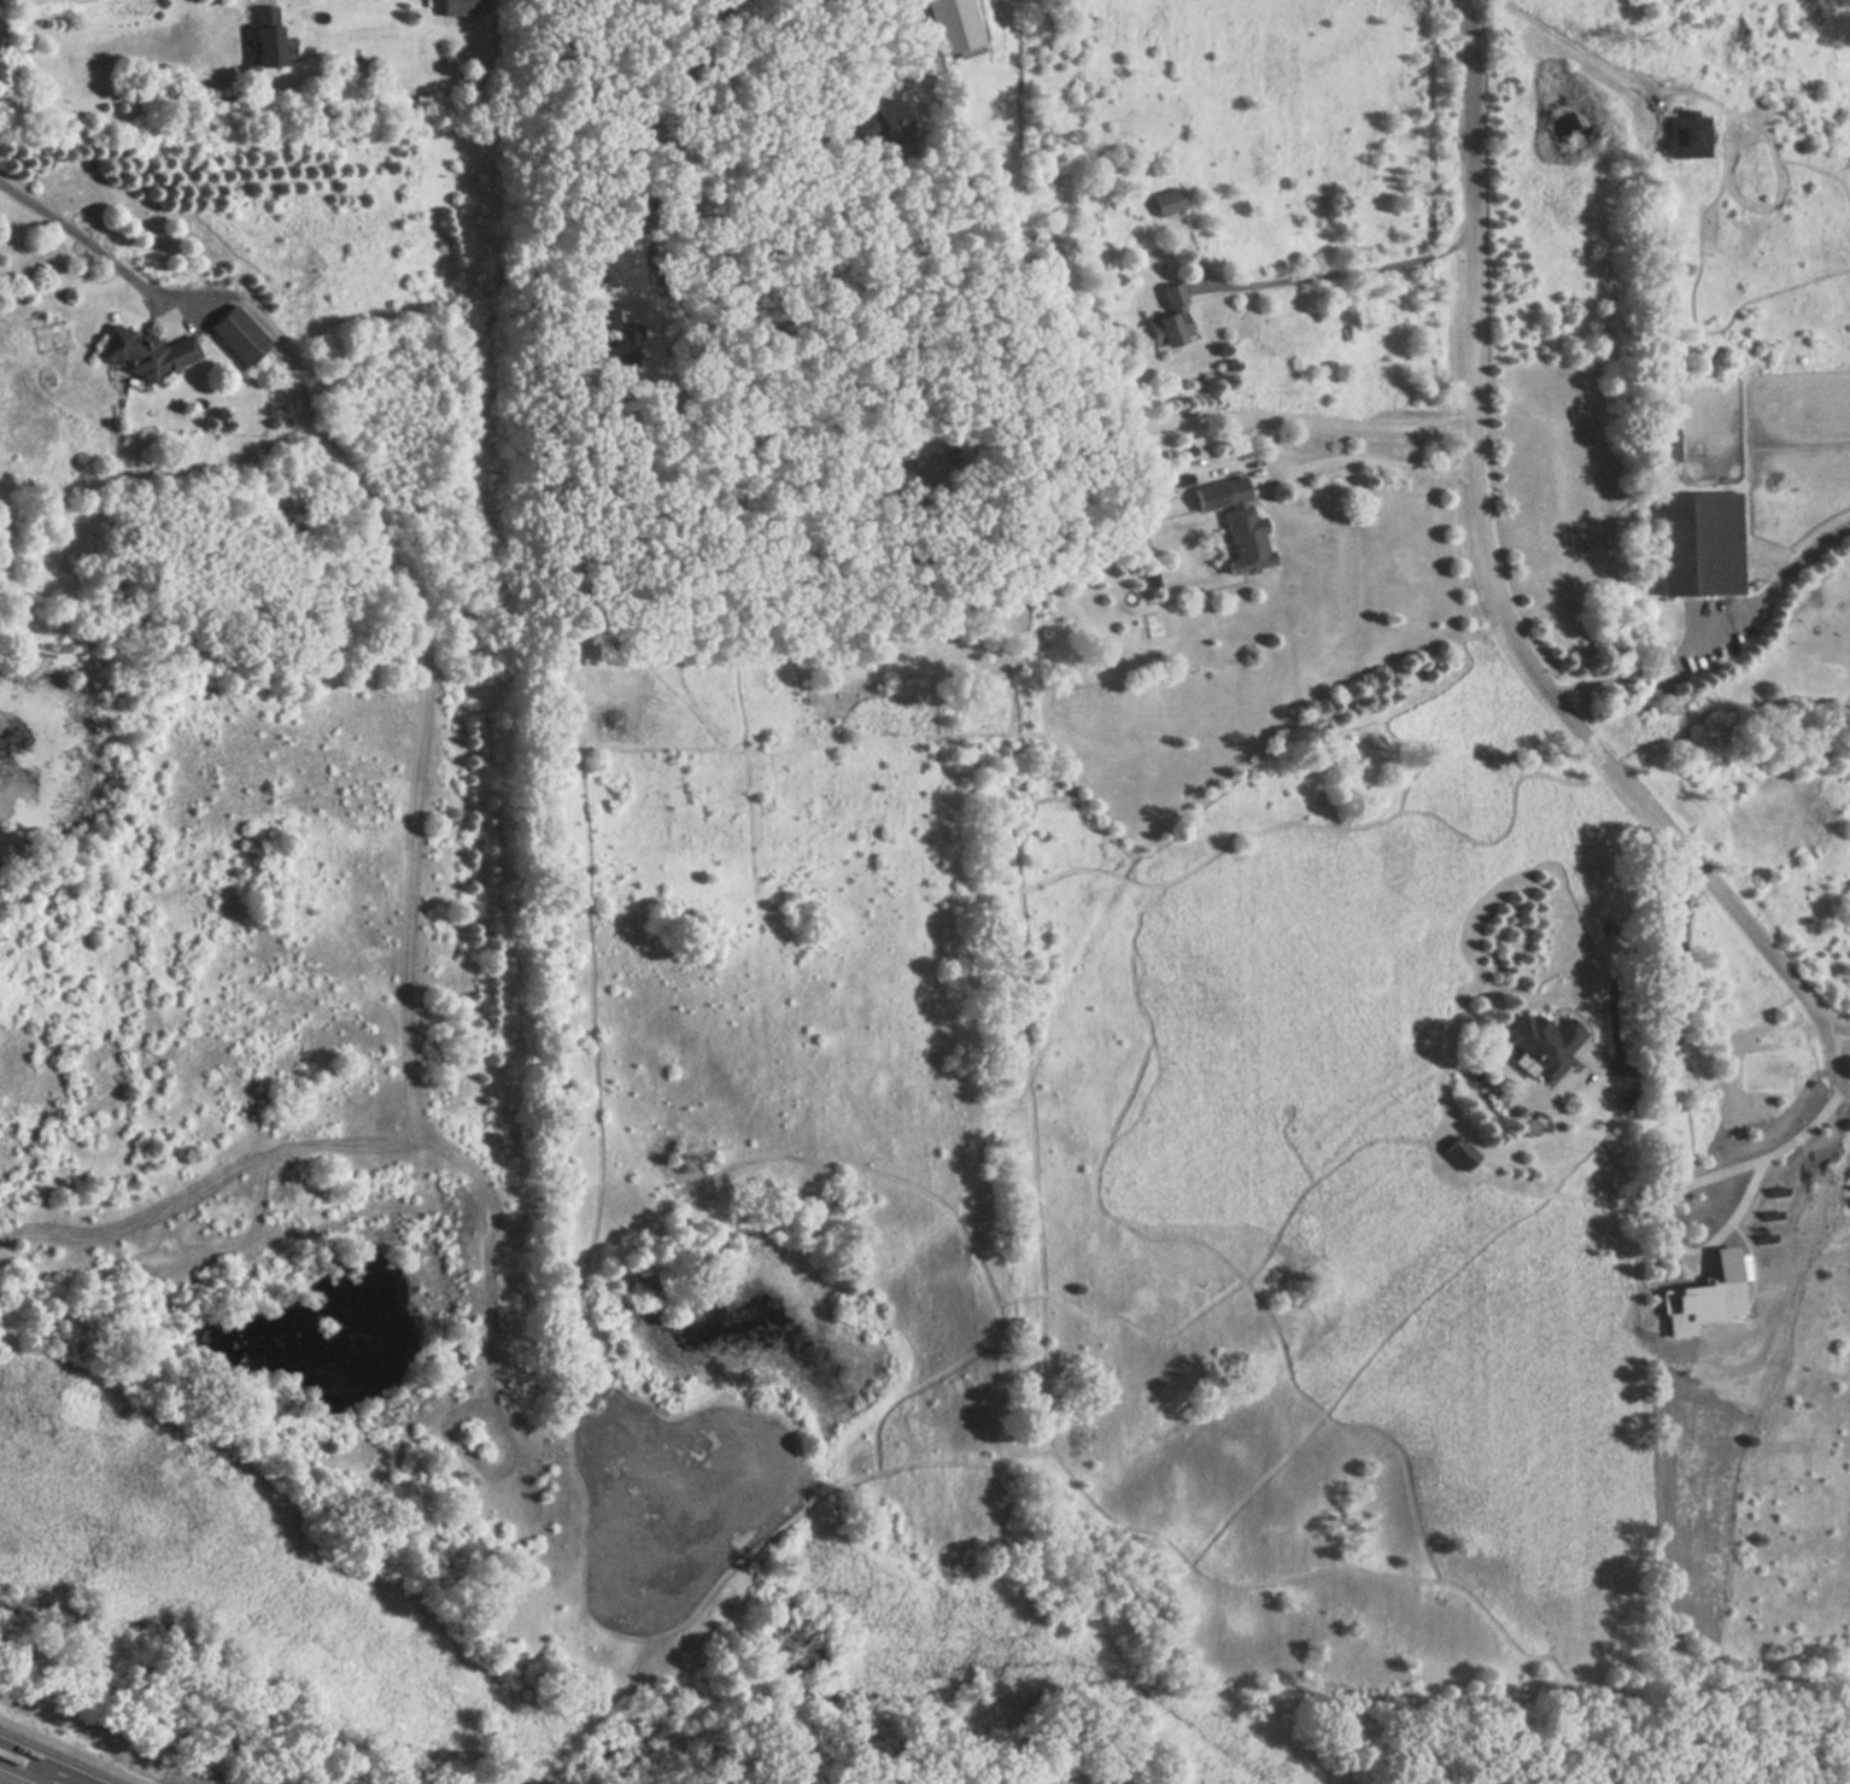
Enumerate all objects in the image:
building: (461, 7)
building: (954, 27)
building: (265, 34)
road: (1576, 46)
road: (835, 49)
road: (638, 129)
building: (1684, 135)
building: (1167, 204)
road: (83, 239)
road: (1345, 271)
building: (1167, 318)
building: (238, 334)
building: (145, 351)
road: (1225, 417)
building: (1668, 444)
road: (1382, 462)
building: (1243, 525)
building: (1702, 540)
road: (1504, 578)
road: (1722, 645)
road: (1840, 1025)
building: (1545, 1042)
building: (1494, 1048)
road: (1655, 1070)
road: (1813, 1122)
building: (1462, 1146)
road: (1675, 1233)
road: (43, 1763)

